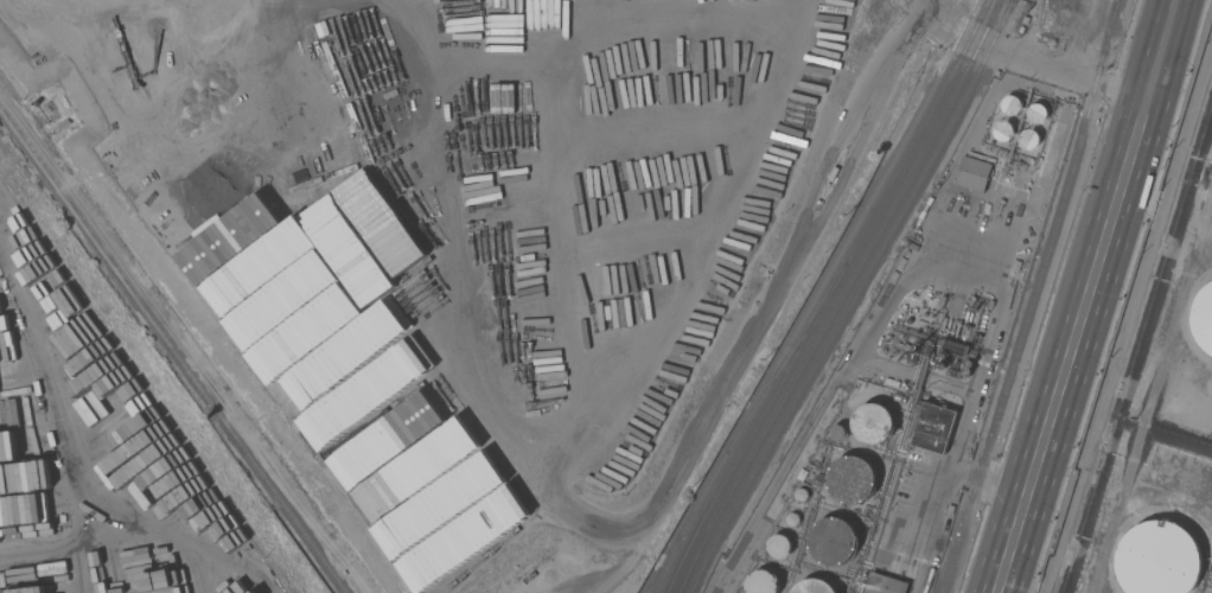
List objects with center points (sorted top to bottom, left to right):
railway: (1116, 5)
railway: (1117, 5)
road: (1028, 57)
building: (1010, 104)
storage tank: (1010, 104)
railway: (920, 111)
building: (1035, 113)
storage tank: (1038, 113)
railway: (932, 115)
railway: (944, 117)
railway: (955, 120)
building: (1003, 130)
storage tank: (1003, 130)
storage tank: (1027, 138)
building: (1027, 139)
building: (696, 145)
building: (653, 149)
building: (591, 166)
building: (967, 170)
building: (980, 177)
road: (1086, 296)
building: (942, 301)
railway: (1033, 301)
building: (1203, 318)
building: (965, 332)
building: (955, 347)
building: (920, 349)
railway: (173, 351)
railway: (791, 355)
railway: (780, 382)
railway: (767, 383)
railway: (793, 383)
railway: (787, 413)
road: (964, 414)
building: (870, 423)
storage tank: (874, 423)
storage tank: (878, 426)
building: (933, 427)
storage tank: (837, 432)
building: (836, 433)
storage tank: (842, 435)
building: (850, 479)
storage tank: (851, 479)
storage tank: (854, 483)
road: (972, 483)
storage tank: (802, 495)
storage tank: (803, 497)
storage tank: (792, 519)
storage tank: (796, 521)
storage tank: (779, 541)
building: (831, 541)
storage tank: (833, 542)
storage tank: (836, 543)
building: (778, 546)
storage tank: (778, 546)
building: (1157, 559)
railway: (691, 563)
railway: (680, 565)
railway: (661, 568)
railway: (664, 569)
storage tank: (761, 579)
building: (760, 582)
storage tank: (761, 582)
building: (884, 584)
storage tank: (812, 585)
building: (812, 586)
storage tank: (815, 586)

